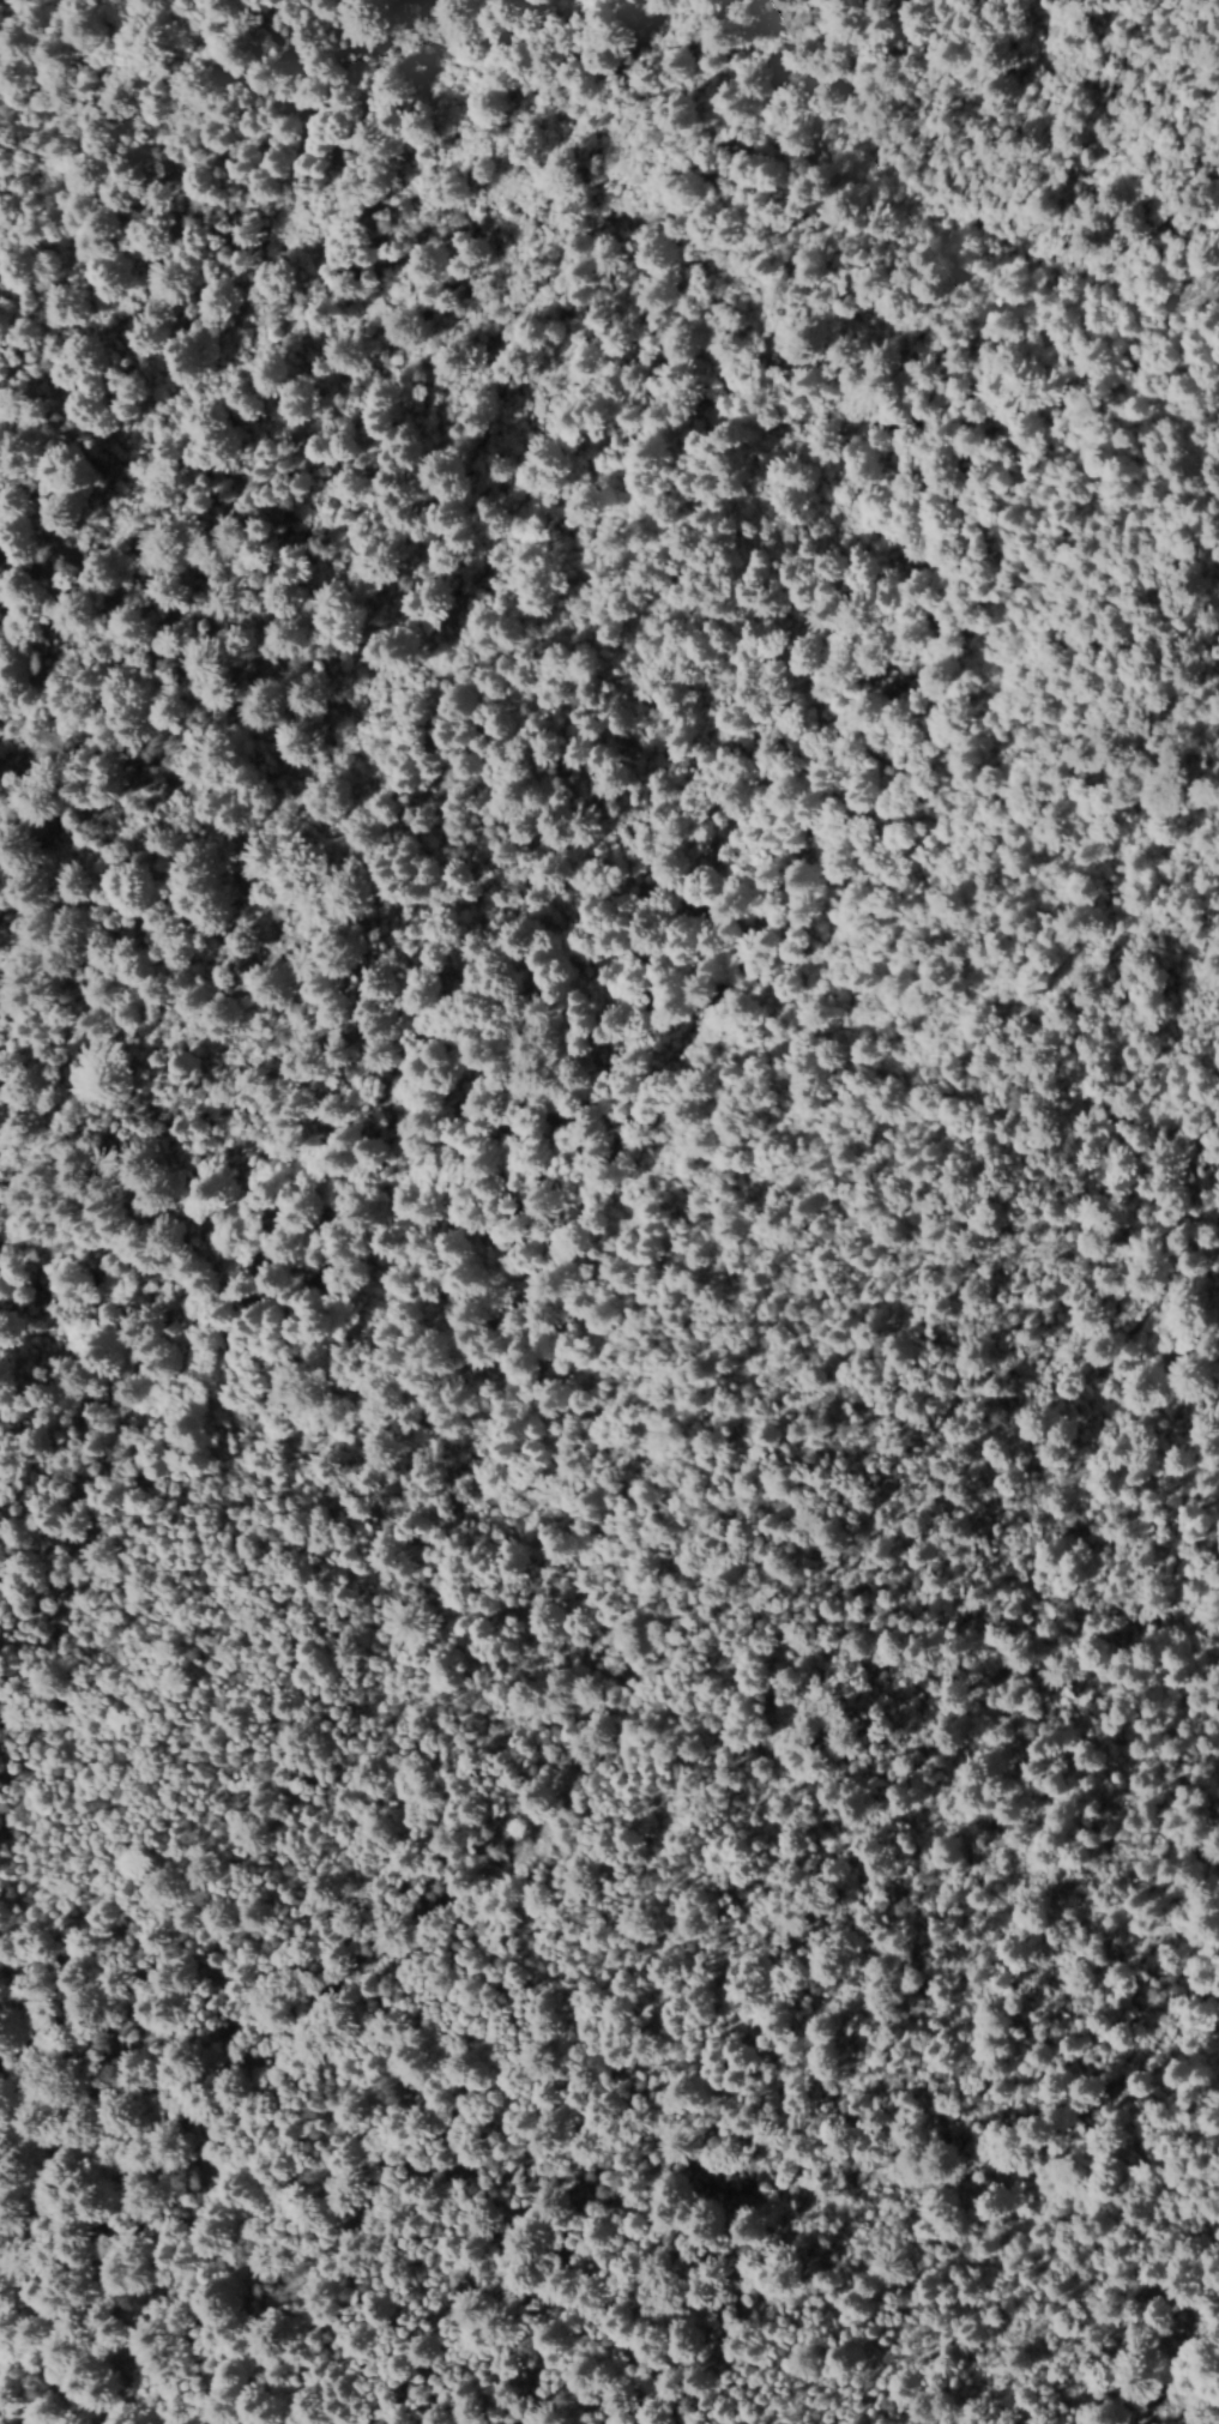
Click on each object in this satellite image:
road: (74, 2341)

